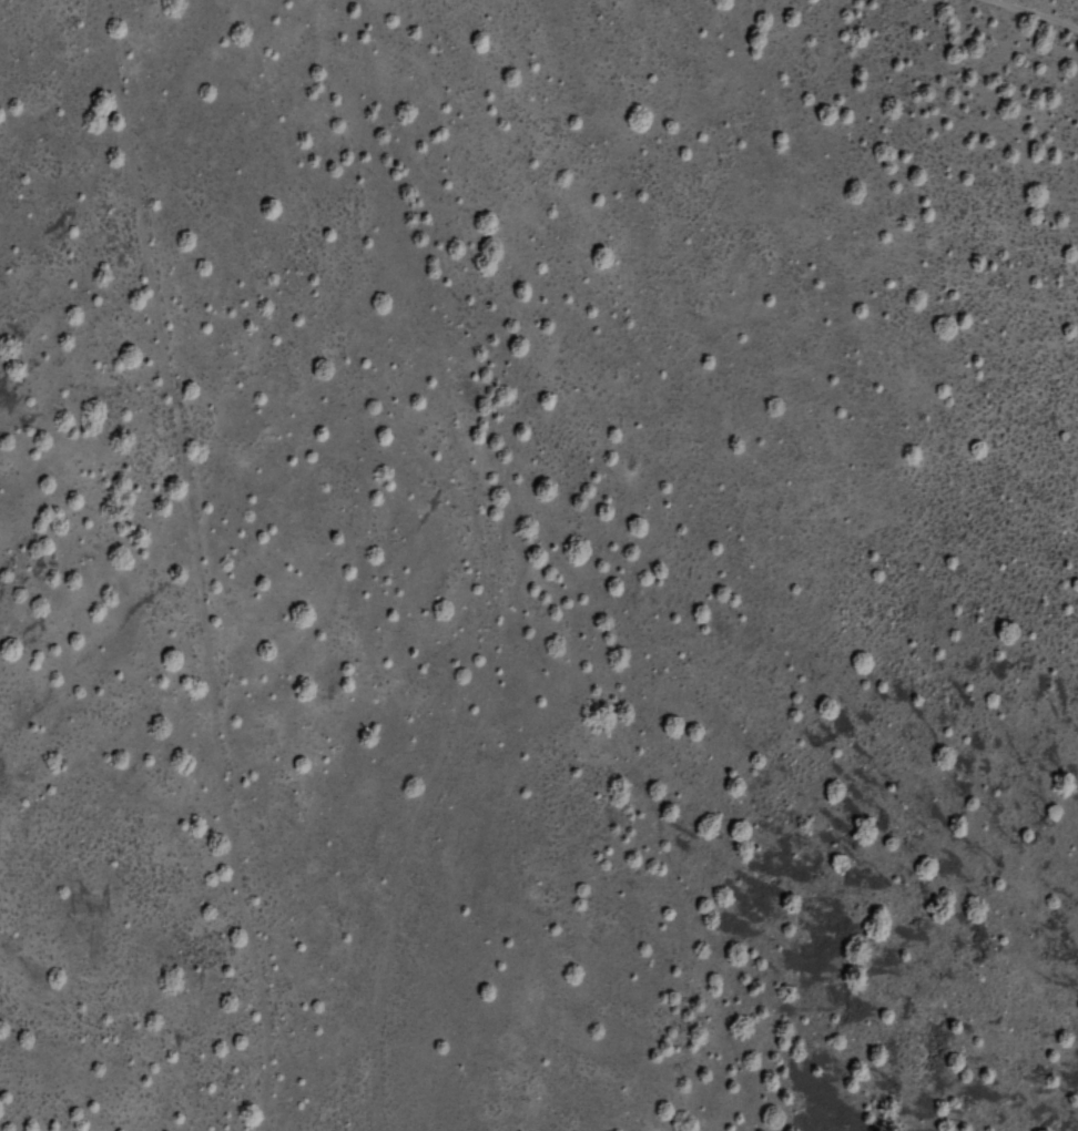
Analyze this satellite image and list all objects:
road: (1038, 13)
road: (201, 563)

